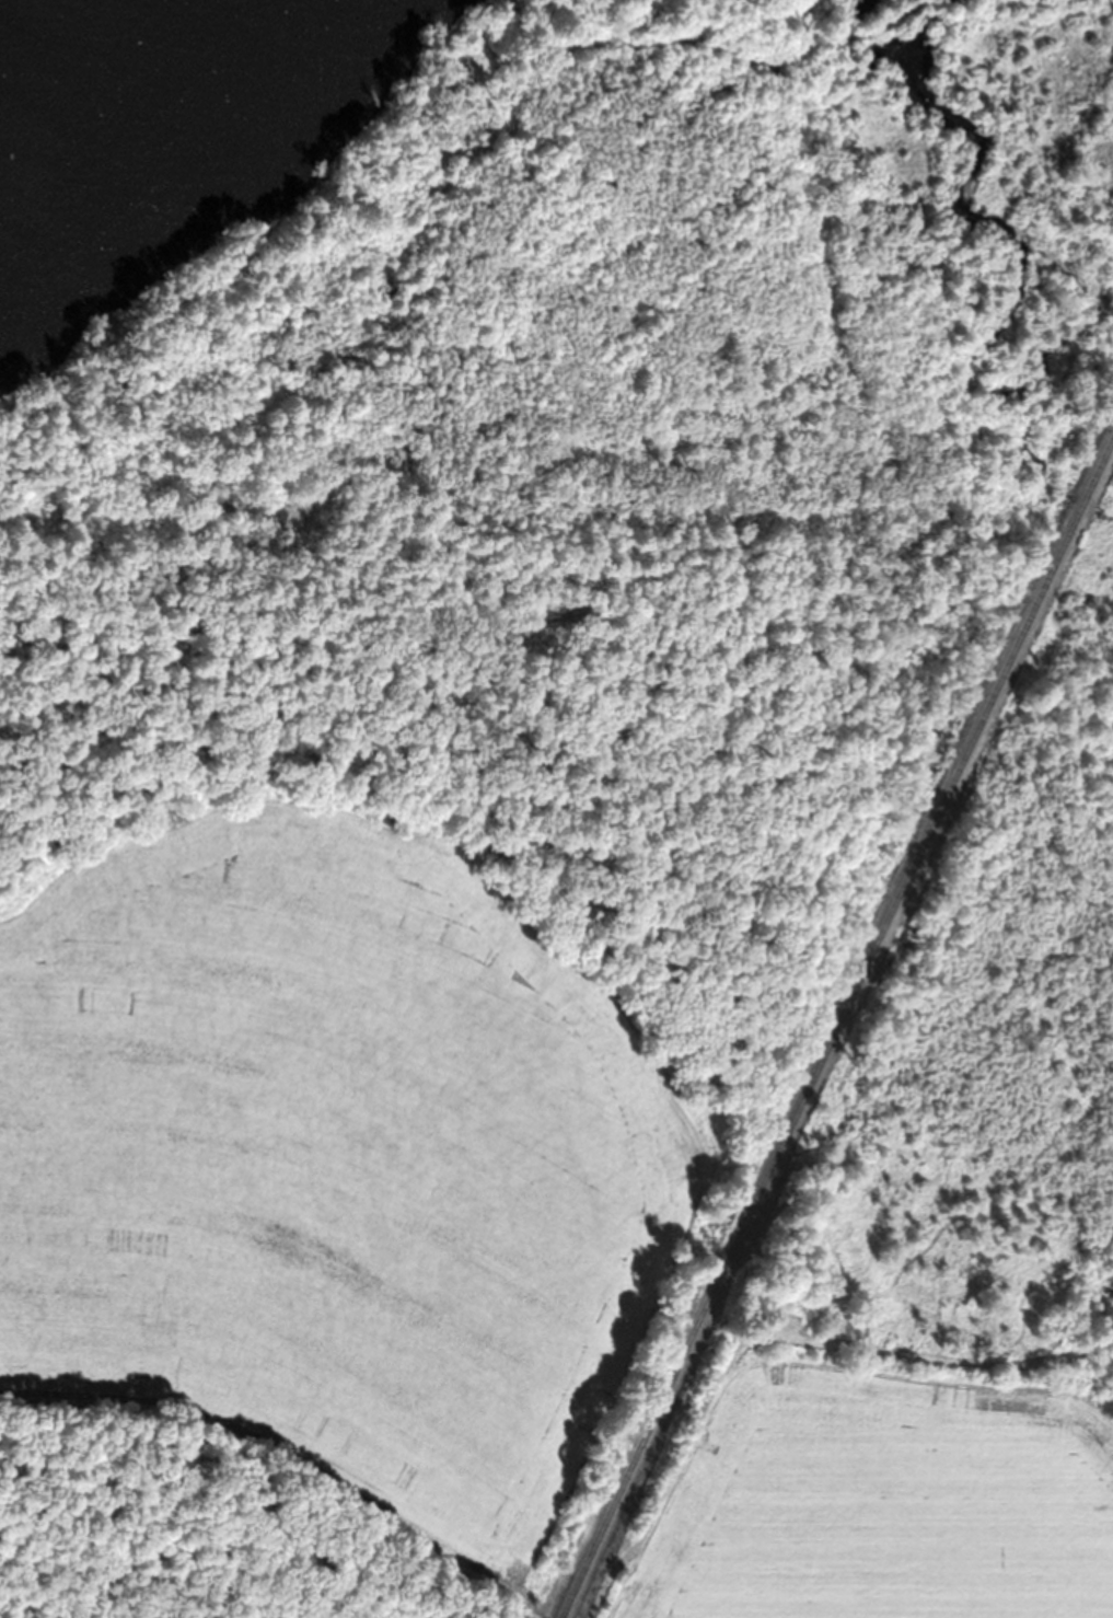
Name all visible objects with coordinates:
railway: (836, 1026)

